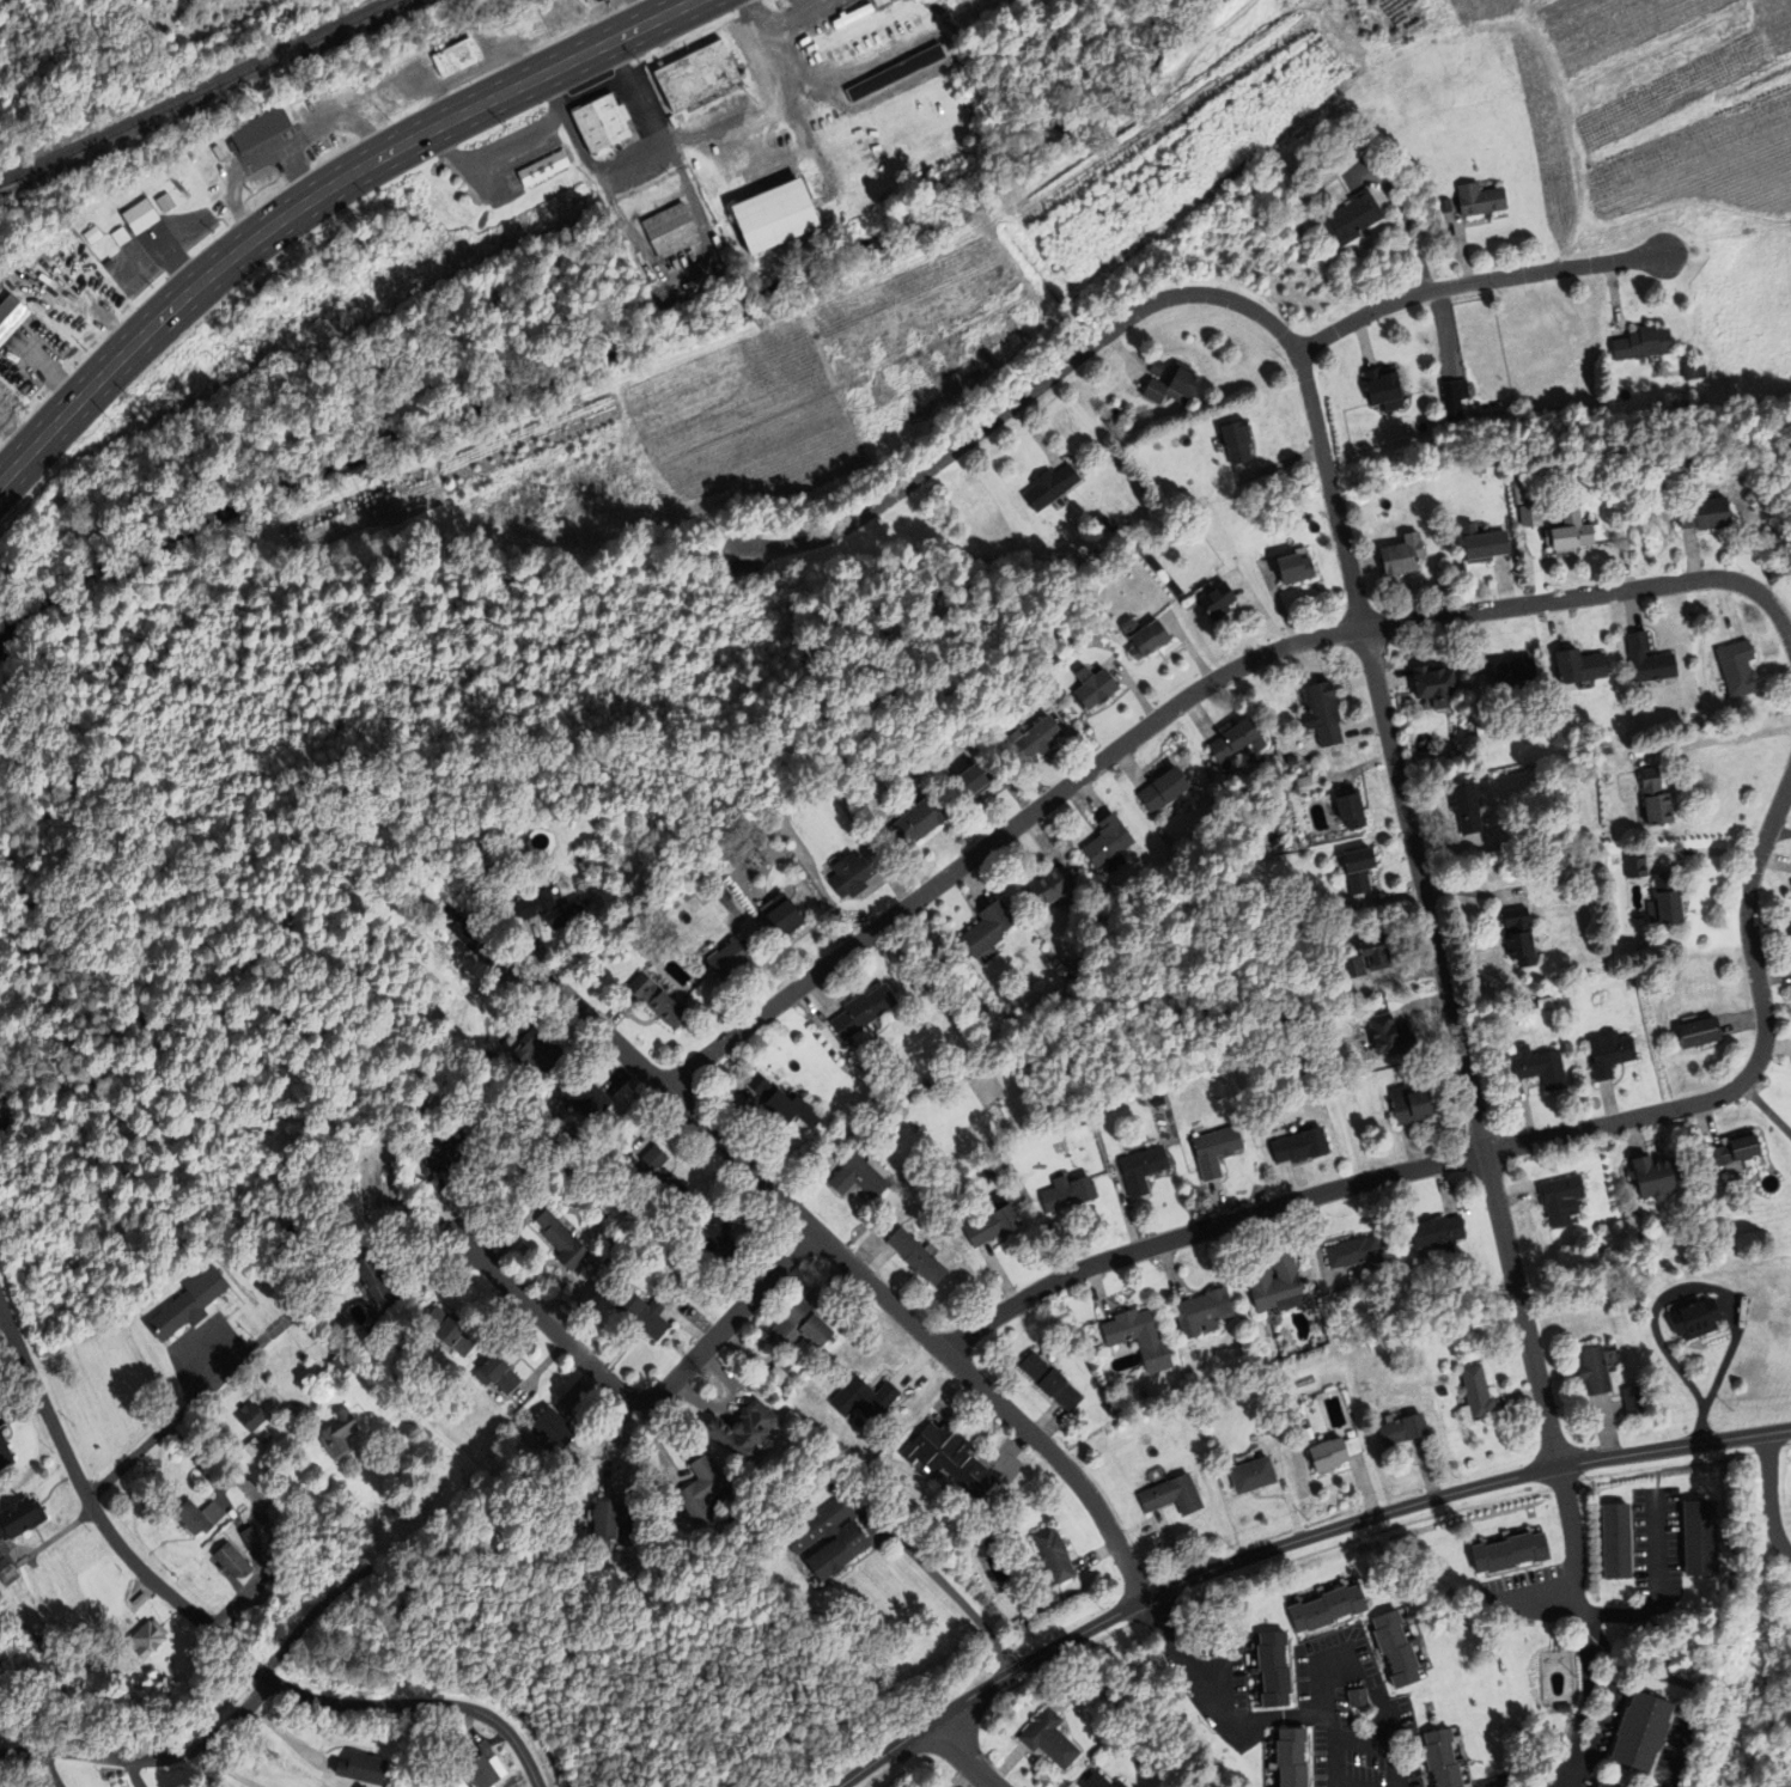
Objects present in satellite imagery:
building: (589, 1)
building: (881, 2)
road: (1541, 6)
road: (1529, 12)
building: (852, 17)
road: (1341, 30)
road: (1634, 38)
building: (452, 59)
building: (895, 74)
building: (696, 77)
railway: (199, 92)
road: (1683, 120)
building: (601, 123)
building: (255, 132)
road: (1259, 152)
road: (1576, 166)
building: (542, 169)
road: (317, 195)
building: (1480, 200)
road: (1667, 207)
building: (138, 218)
building: (773, 218)
building: (1353, 218)
building: (670, 231)
road: (964, 234)
road: (1724, 236)
road: (1607, 263)
road: (1417, 293)
building: (10, 315)
building: (1643, 344)
river: (617, 346)
building: (1157, 368)
building: (1691, 368)
road: (1041, 382)
building: (1172, 386)
building: (1383, 390)
building: (1452, 401)
building: (1236, 443)
building: (1050, 488)
building: (1705, 514)
building: (1531, 517)
road: (852, 520)
road: (718, 529)
building: (1570, 533)
road: (346, 542)
building: (1482, 545)
building: (1402, 556)
building: (1294, 569)
building: (1217, 602)
building: (1145, 639)
building: (1649, 661)
building: (1579, 667)
building: (1738, 670)
building: (1513, 671)
building: (1434, 687)
building: (1094, 689)
road: (1186, 701)
building: (1322, 715)
building: (1036, 739)
building: (1237, 742)
building: (1303, 782)
building: (970, 785)
building: (1163, 792)
building: (1656, 800)
building: (1468, 811)
building: (1351, 812)
road: (1407, 819)
building: (918, 821)
building: (1108, 846)
building: (1634, 865)
building: (1359, 871)
building: (849, 874)
building: (1049, 891)
building: (1665, 903)
building: (547, 908)
building: (781, 915)
building: (987, 927)
building: (1519, 937)
building: (1375, 949)
building: (727, 958)
building: (495, 964)
building: (1353, 966)
building: (656, 1000)
building: (861, 1011)
building: (1699, 1031)
building: (1389, 1036)
building: (536, 1053)
building: (1609, 1054)
building: (1537, 1067)
building: (585, 1098)
building: (781, 1102)
building: (1411, 1104)
building: (1299, 1146)
building: (1216, 1149)
building: (1734, 1151)
road: (1486, 1153)
building: (443, 1157)
building: (1141, 1170)
building: (1653, 1176)
building: (859, 1177)
building: (656, 1178)
building: (1067, 1193)
building: (1561, 1199)
building: (991, 1221)
building: (1436, 1233)
building: (715, 1236)
building: (560, 1240)
building: (1353, 1254)
building: (915, 1256)
road: (851, 1268)
building: (372, 1281)
building: (1273, 1282)
road: (1710, 1287)
building: (185, 1300)
building: (1199, 1312)
building: (644, 1315)
building: (1695, 1318)
building: (800, 1325)
building: (449, 1331)
road: (12, 1334)
building: (1138, 1338)
parking lot: (202, 1356)
building: (286, 1356)
building: (335, 1365)
building: (1594, 1370)
building: (495, 1373)
building: (1047, 1382)
building: (1474, 1392)
road: (639, 1399)
building: (864, 1399)
building: (1634, 1399)
road: (191, 1402)
building: (293, 1408)
building: (246, 1416)
building: (553, 1427)
building: (742, 1429)
building: (1400, 1429)
building: (335, 1434)
road: (1756, 1435)
building: (263, 1438)
building: (249, 1446)
building: (1324, 1453)
building: (944, 1456)
building: (4, 1457)
building: (1249, 1475)
building: (700, 1490)
building: (1169, 1495)
road: (1771, 1496)
road: (1384, 1515)
building: (18, 1517)
building: (195, 1517)
building: (609, 1521)
road: (412, 1536)
building: (1696, 1537)
building: (1613, 1541)
building: (846, 1542)
road: (117, 1544)
building: (270, 1553)
building: (1506, 1554)
building: (1050, 1557)
building: (227, 1561)
park: (1760, 1569)
road: (928, 1572)
road: (1656, 1588)
road: (1537, 1596)
building: (136, 1600)
building: (1324, 1609)
road: (1583, 1628)
building: (144, 1639)
building: (1396, 1648)
building: (1271, 1670)
road: (985, 1687)
building: (1354, 1697)
road: (421, 1703)
road: (1236, 1721)
building: (1639, 1733)
building: (1049, 1739)
road: (1387, 1743)
road: (1359, 1744)
road: (1679, 1752)
road: (956, 1757)
building: (1289, 1757)
road: (1332, 1757)
building: (1443, 1758)
road: (148, 1759)
road: (873, 1762)
building: (360, 1767)
building: (481, 1770)
building: (1096, 1781)
building: (1119, 1785)
building: (1601, 1785)

